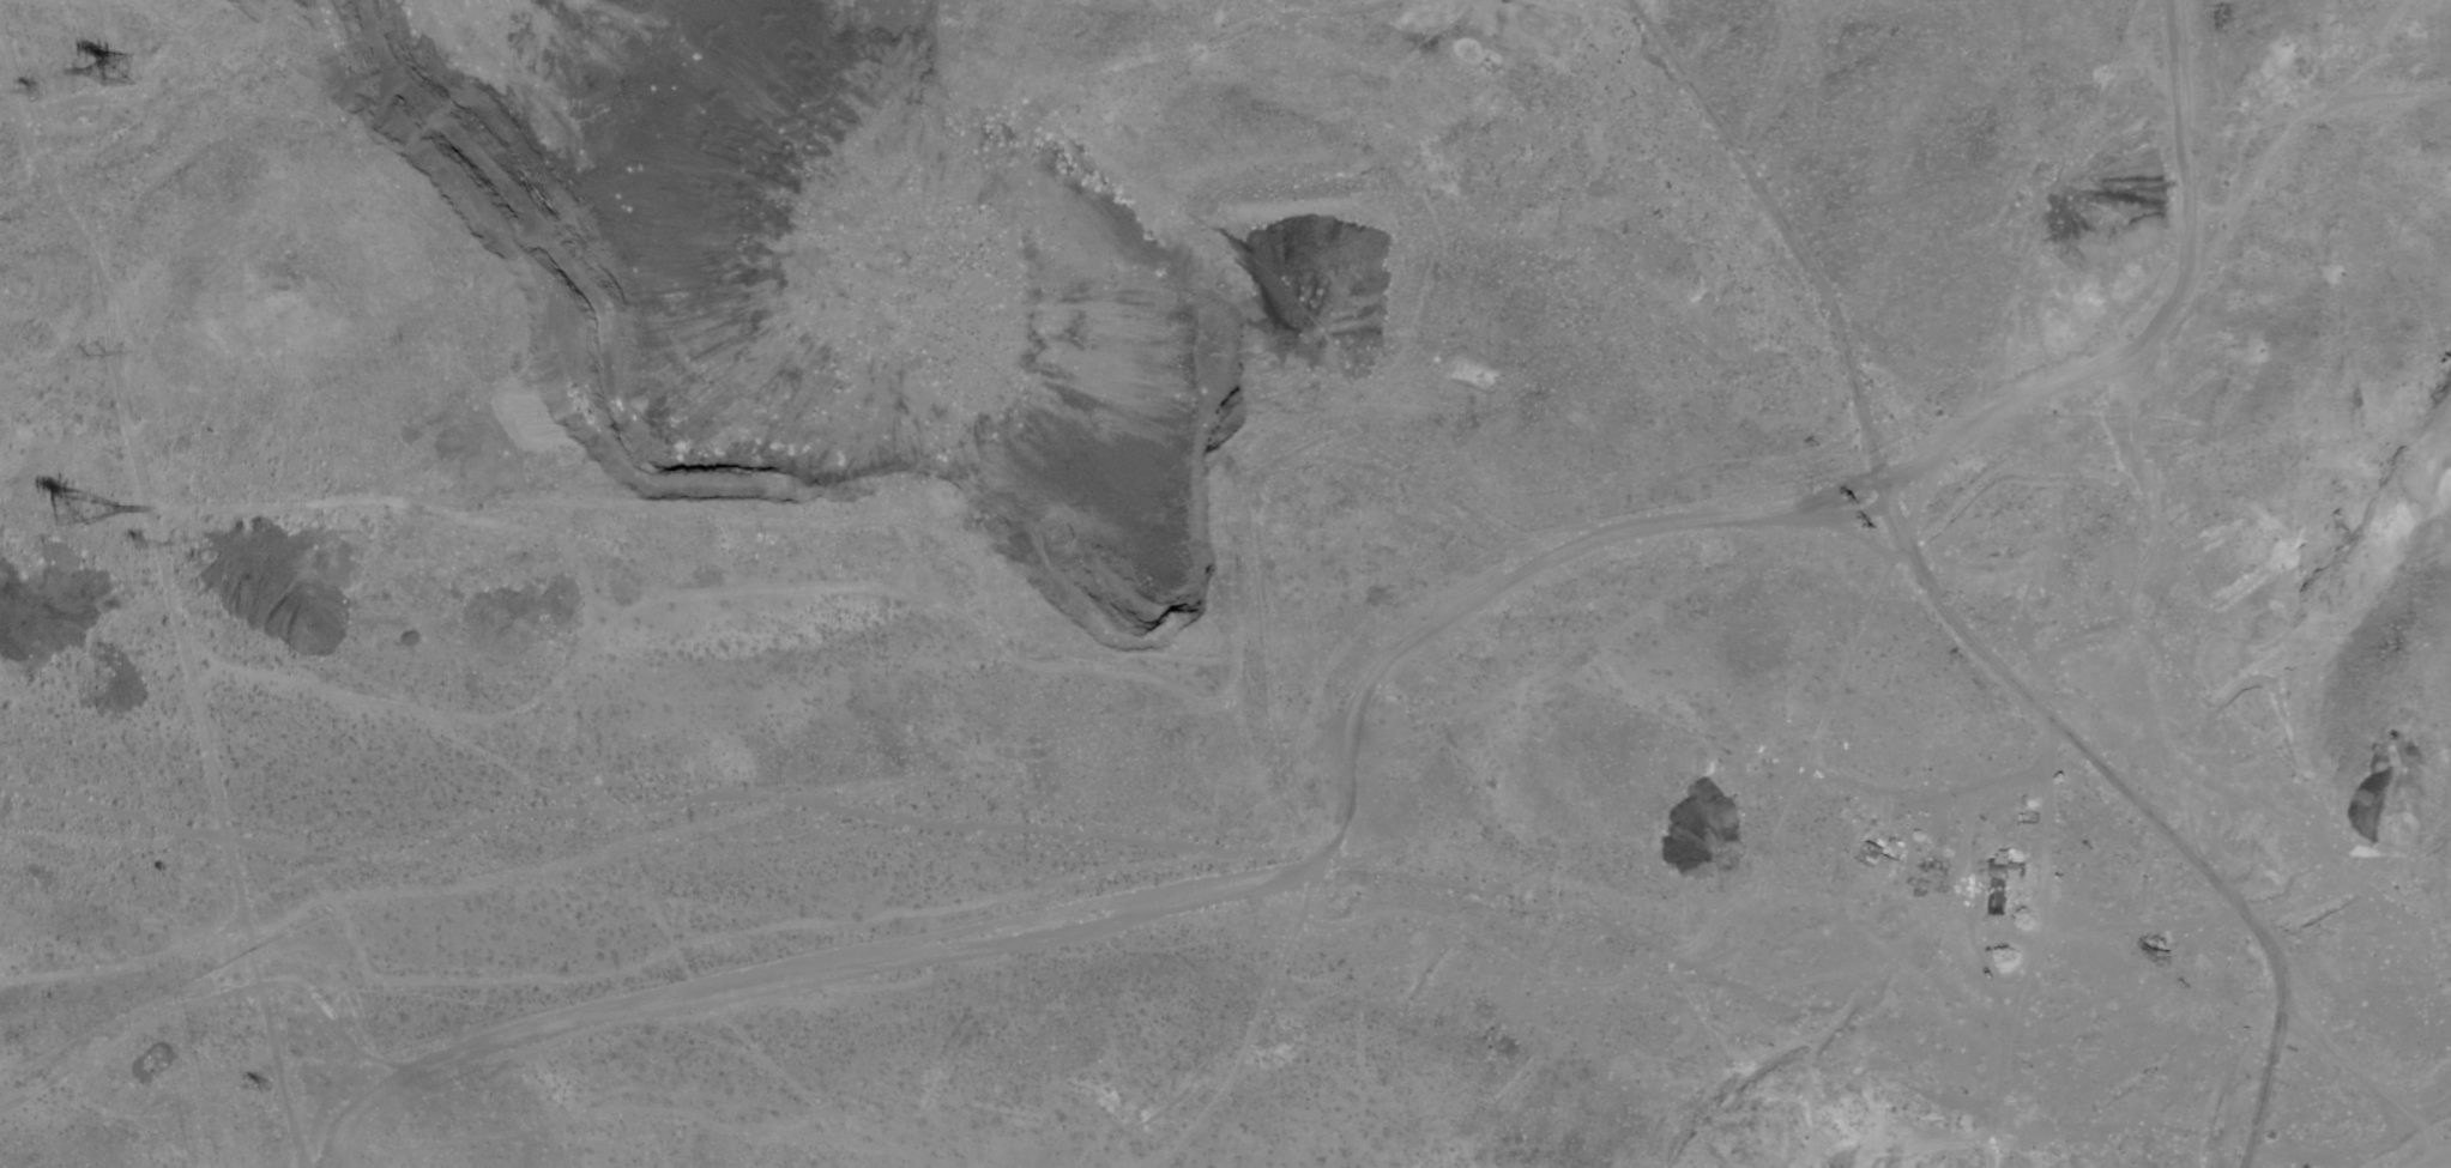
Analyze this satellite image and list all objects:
power tower: (123, 73)
power tower: (38, 95)
road: (2160, 319)
crop: (2087, 337)
power tower: (84, 509)
power tower: (141, 549)
road: (168, 600)
road: (2133, 804)
building: (1993, 883)
road: (1171, 909)
road: (210, 1001)
road: (2350, 1067)
power tower: (260, 1090)
crop: (2287, 1144)
road: (2441, 1162)
road: (2429, 1167)
road: (2433, 1167)

